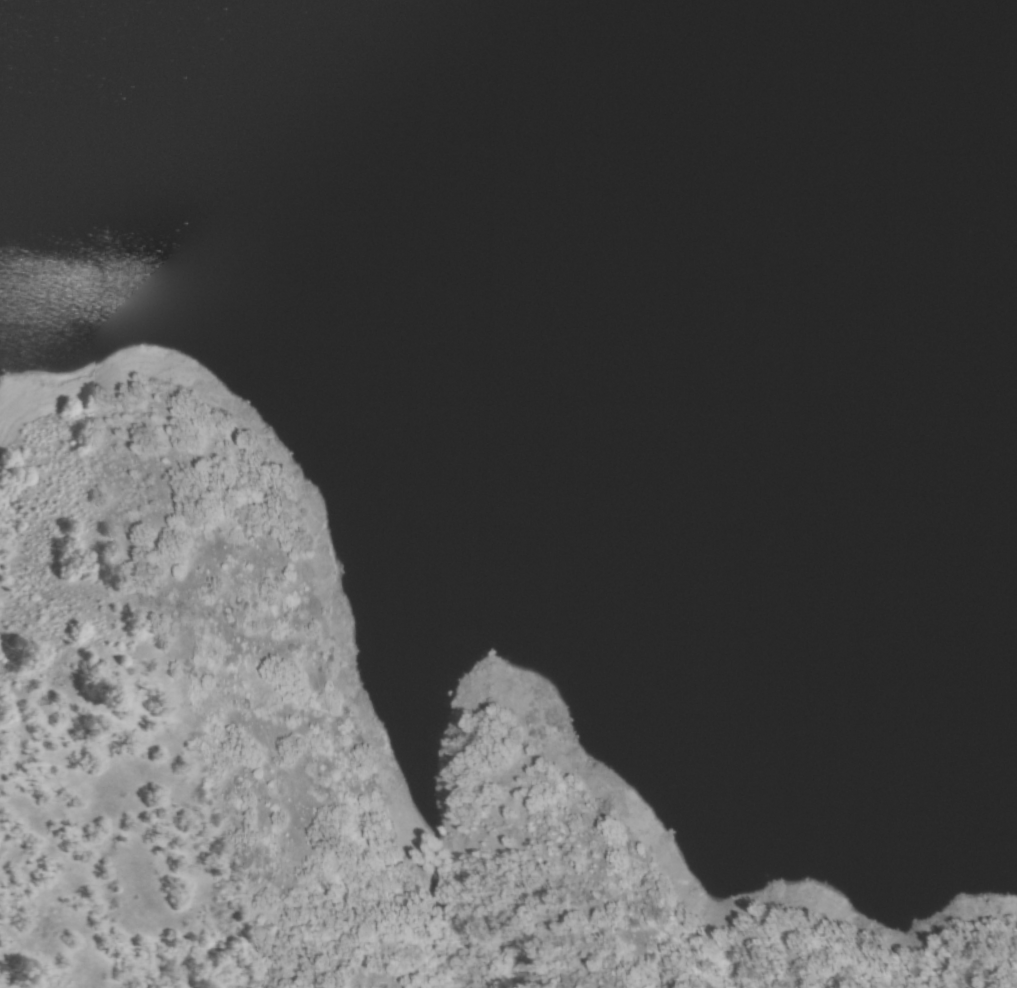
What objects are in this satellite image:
river: (873, 166)

